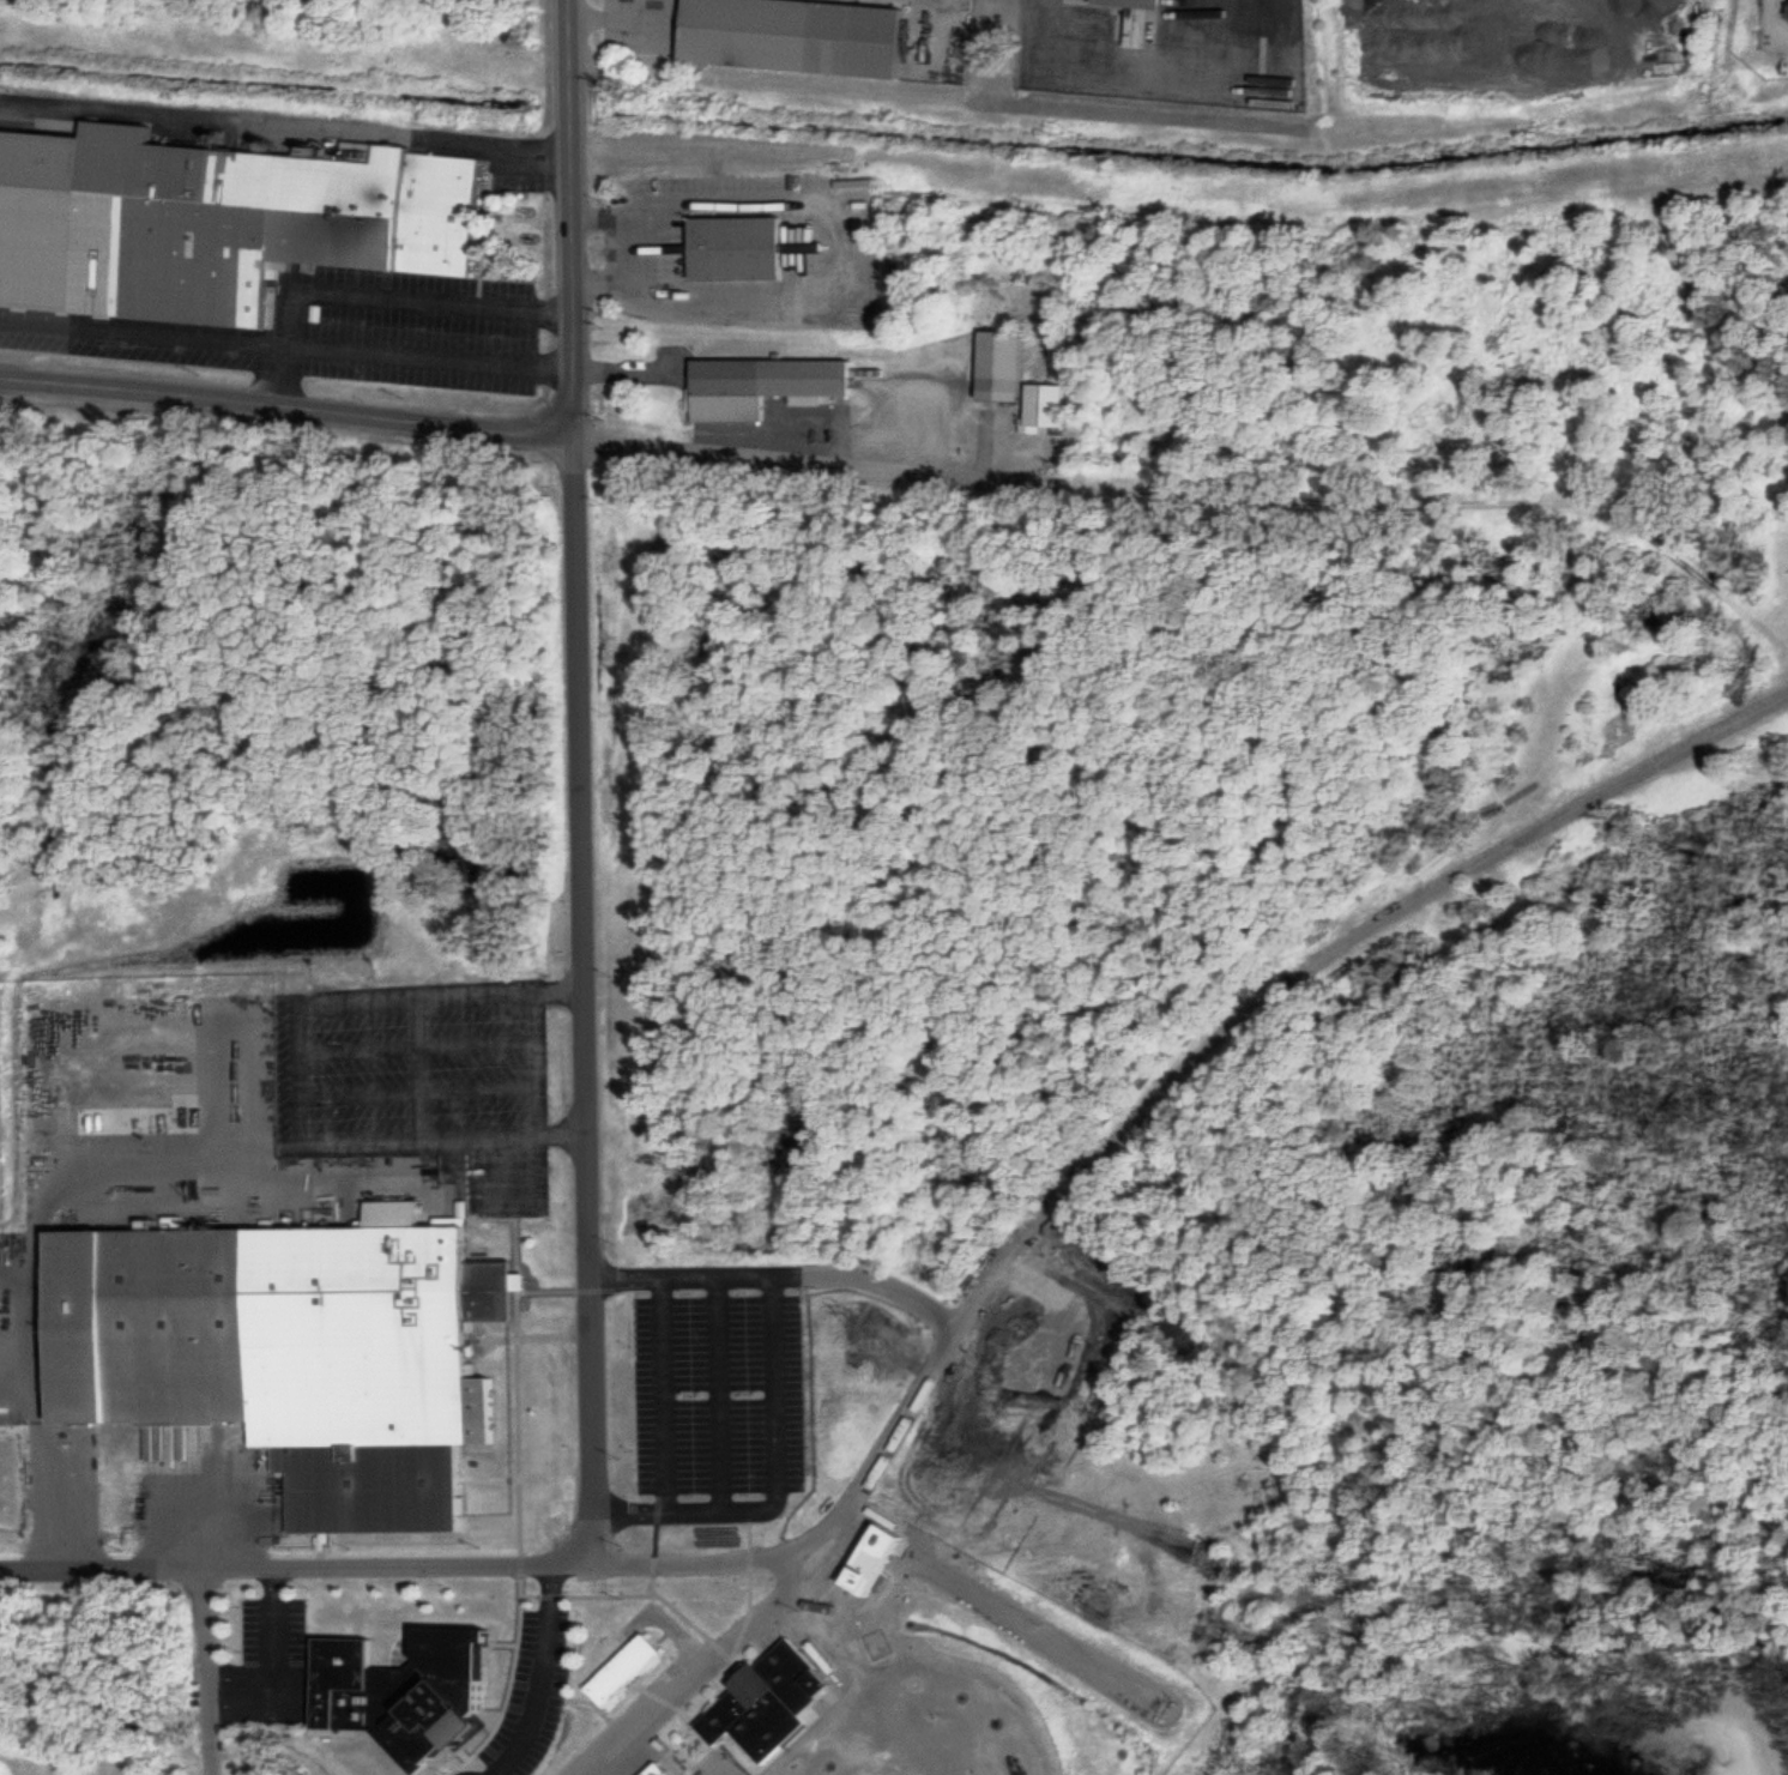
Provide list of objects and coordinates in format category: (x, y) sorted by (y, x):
building: (1153, 1)
road: (605, 17)
building: (799, 35)
road: (1155, 67)
road: (285, 125)
building: (211, 217)
road: (836, 240)
building: (737, 244)
road: (630, 247)
road: (373, 295)
road: (285, 340)
building: (1001, 361)
road: (623, 369)
building: (760, 380)
building: (1047, 400)
road: (517, 433)
road: (579, 780)
road: (1324, 952)
road: (370, 996)
road: (416, 1044)
road: (532, 1064)
road: (413, 1068)
road: (416, 1088)
road: (442, 1140)
road: (506, 1172)
road: (31, 1245)
road: (777, 1274)
building: (284, 1347)
road: (659, 1393)
road: (712, 1393)
road: (880, 1451)
road: (771, 1478)
building: (878, 1553)
road: (386, 1559)
road: (101, 1562)
road: (270, 1658)
building: (624, 1666)
road: (697, 1672)
road: (537, 1673)
building: (407, 1686)
building: (768, 1698)
building: (660, 1768)
road: (463, 1774)

